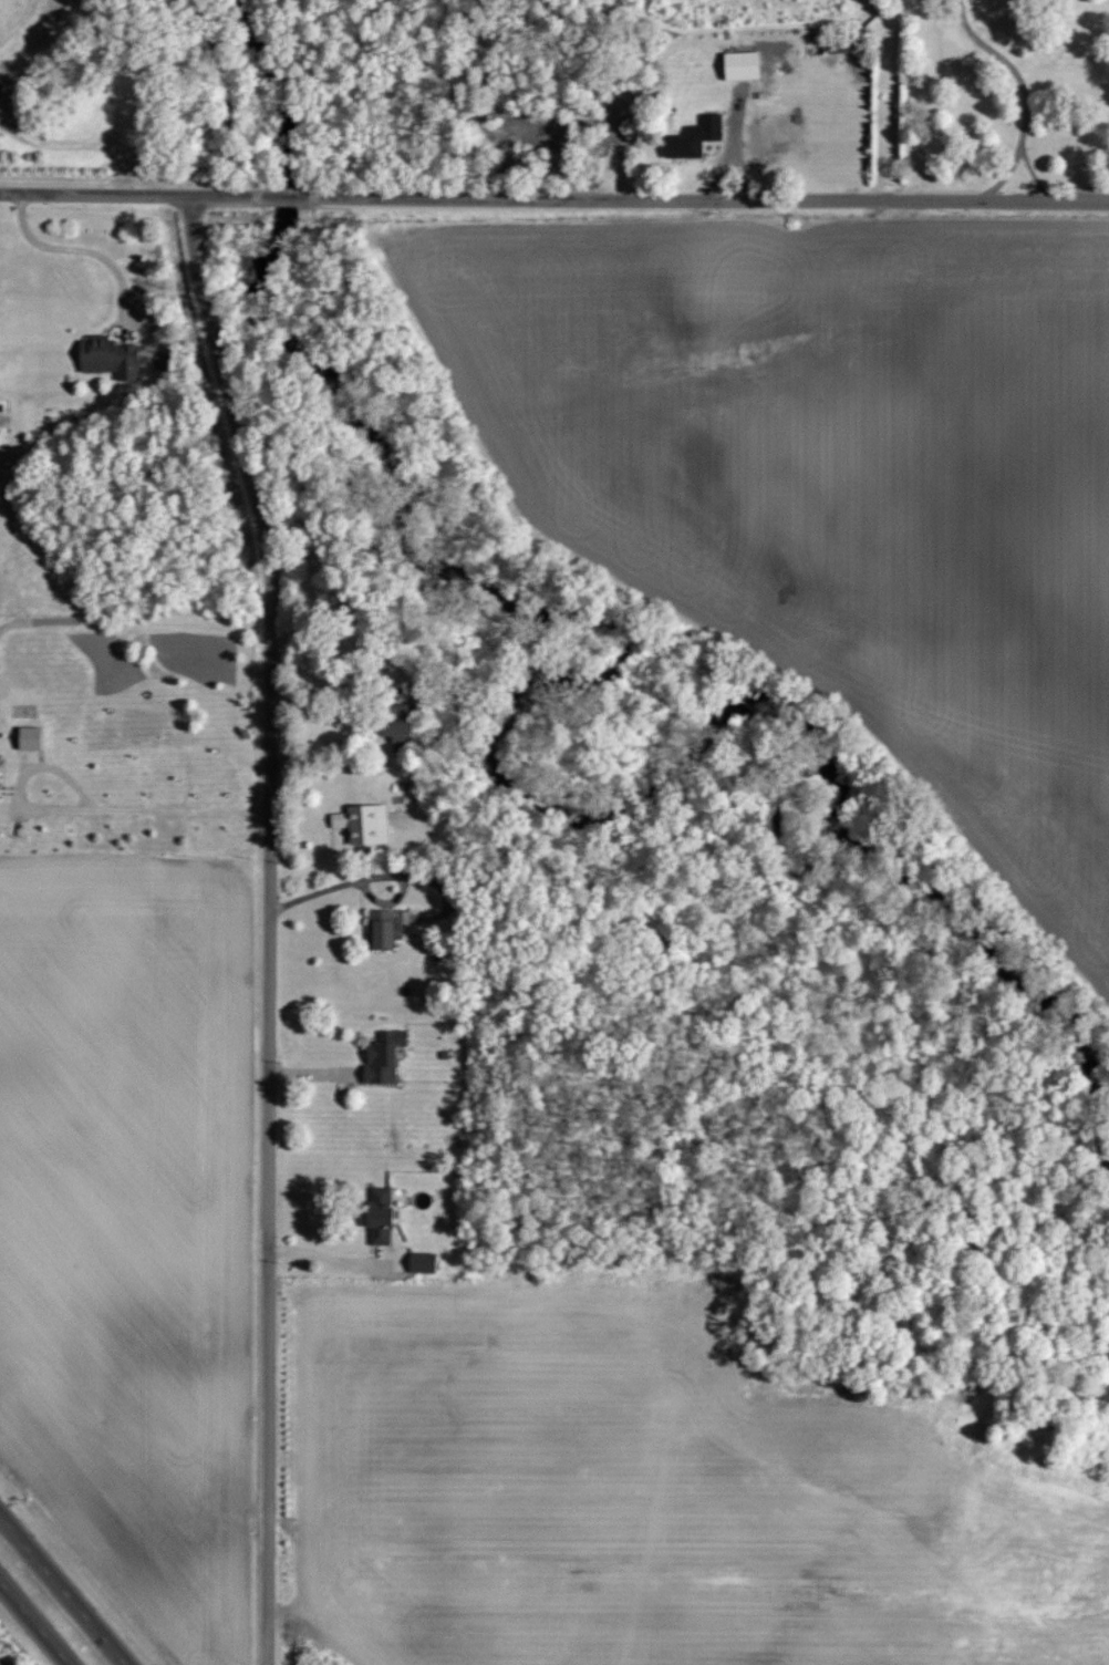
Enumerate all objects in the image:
road: (1008, 64)
building: (746, 66)
road: (737, 123)
building: (697, 138)
road: (729, 156)
road: (1033, 174)
road: (1005, 175)
road: (553, 199)
road: (86, 247)
building: (113, 359)
building: (400, 734)
building: (34, 737)
building: (0, 777)
road: (85, 806)
building: (366, 823)
road: (366, 876)
road: (269, 925)
building: (387, 928)
building: (387, 1056)
building: (385, 1214)
building: (425, 1262)
road: (65, 1586)
road: (32, 1625)

